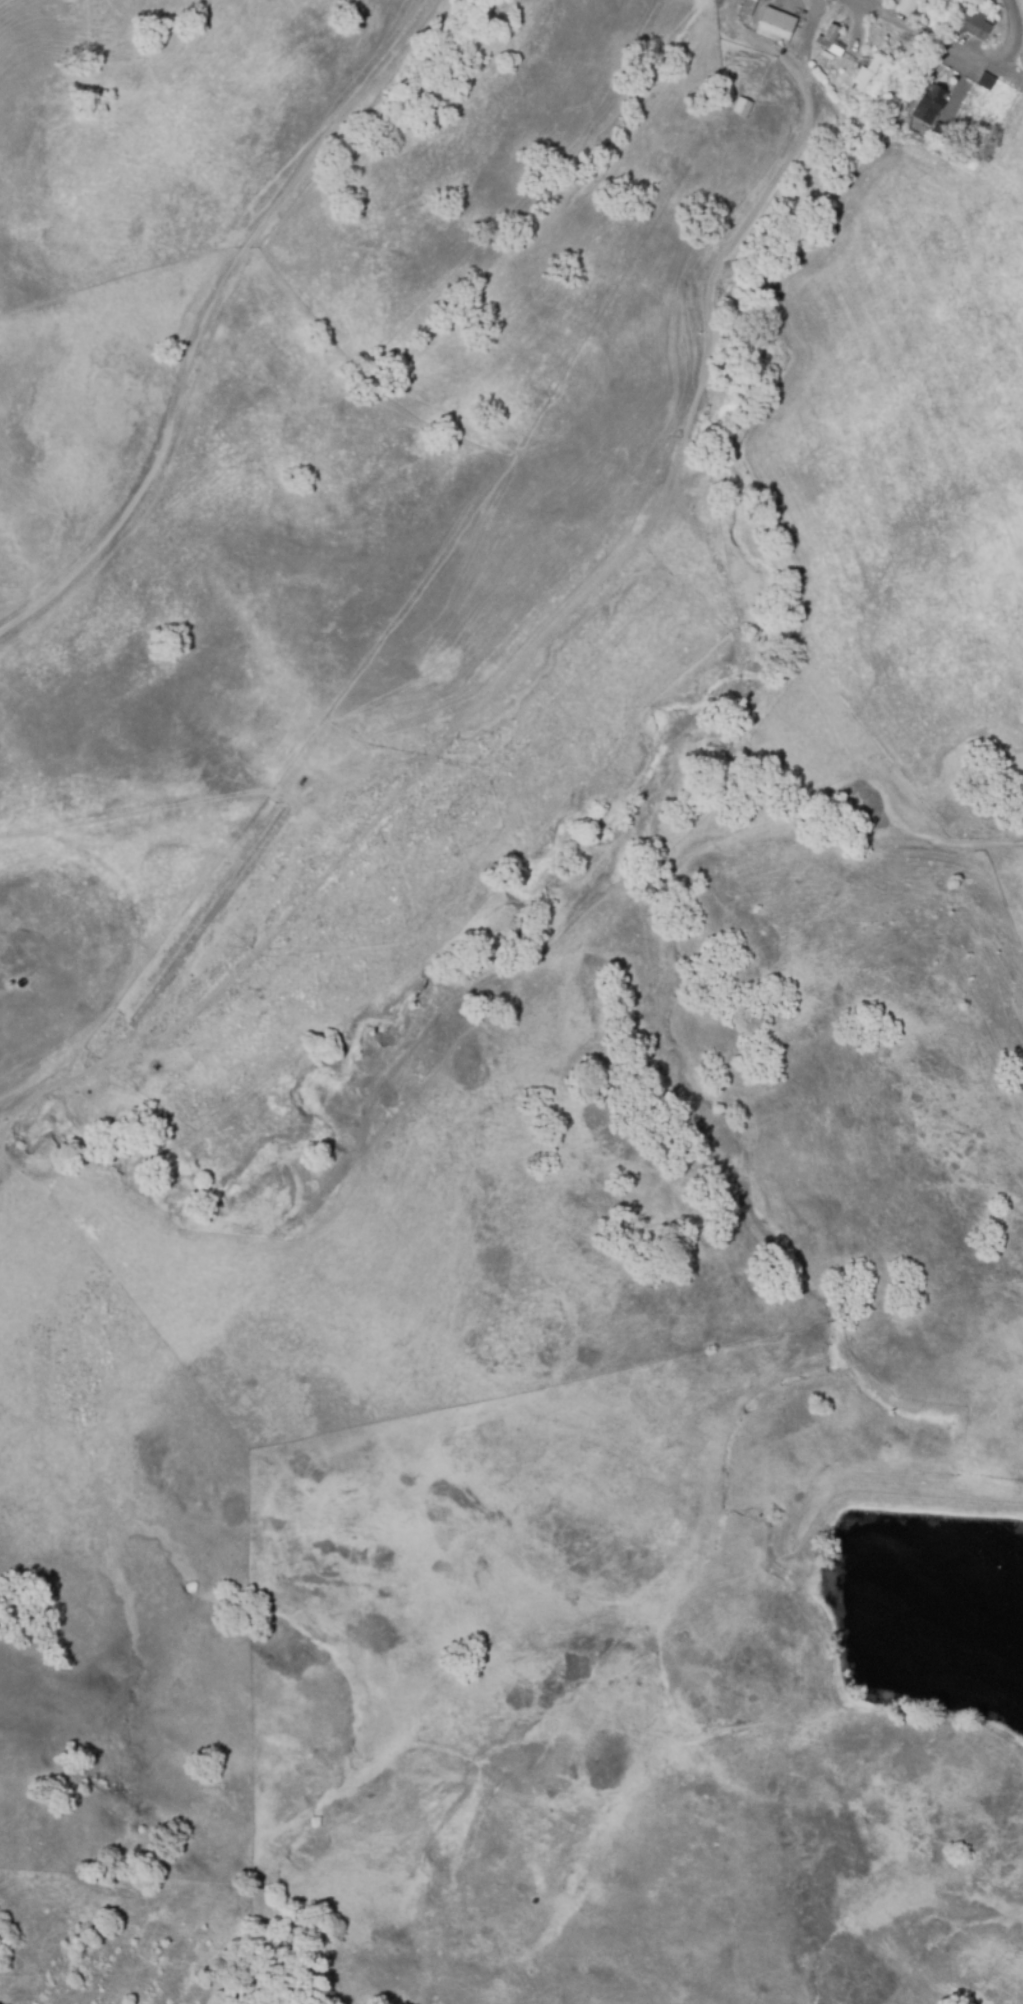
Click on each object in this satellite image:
building: (905, 6)
building: (747, 7)
building: (775, 24)
building: (972, 25)
building: (830, 40)
road: (956, 52)
building: (865, 73)
building: (928, 105)
building: (741, 107)
dam: (905, 1509)

